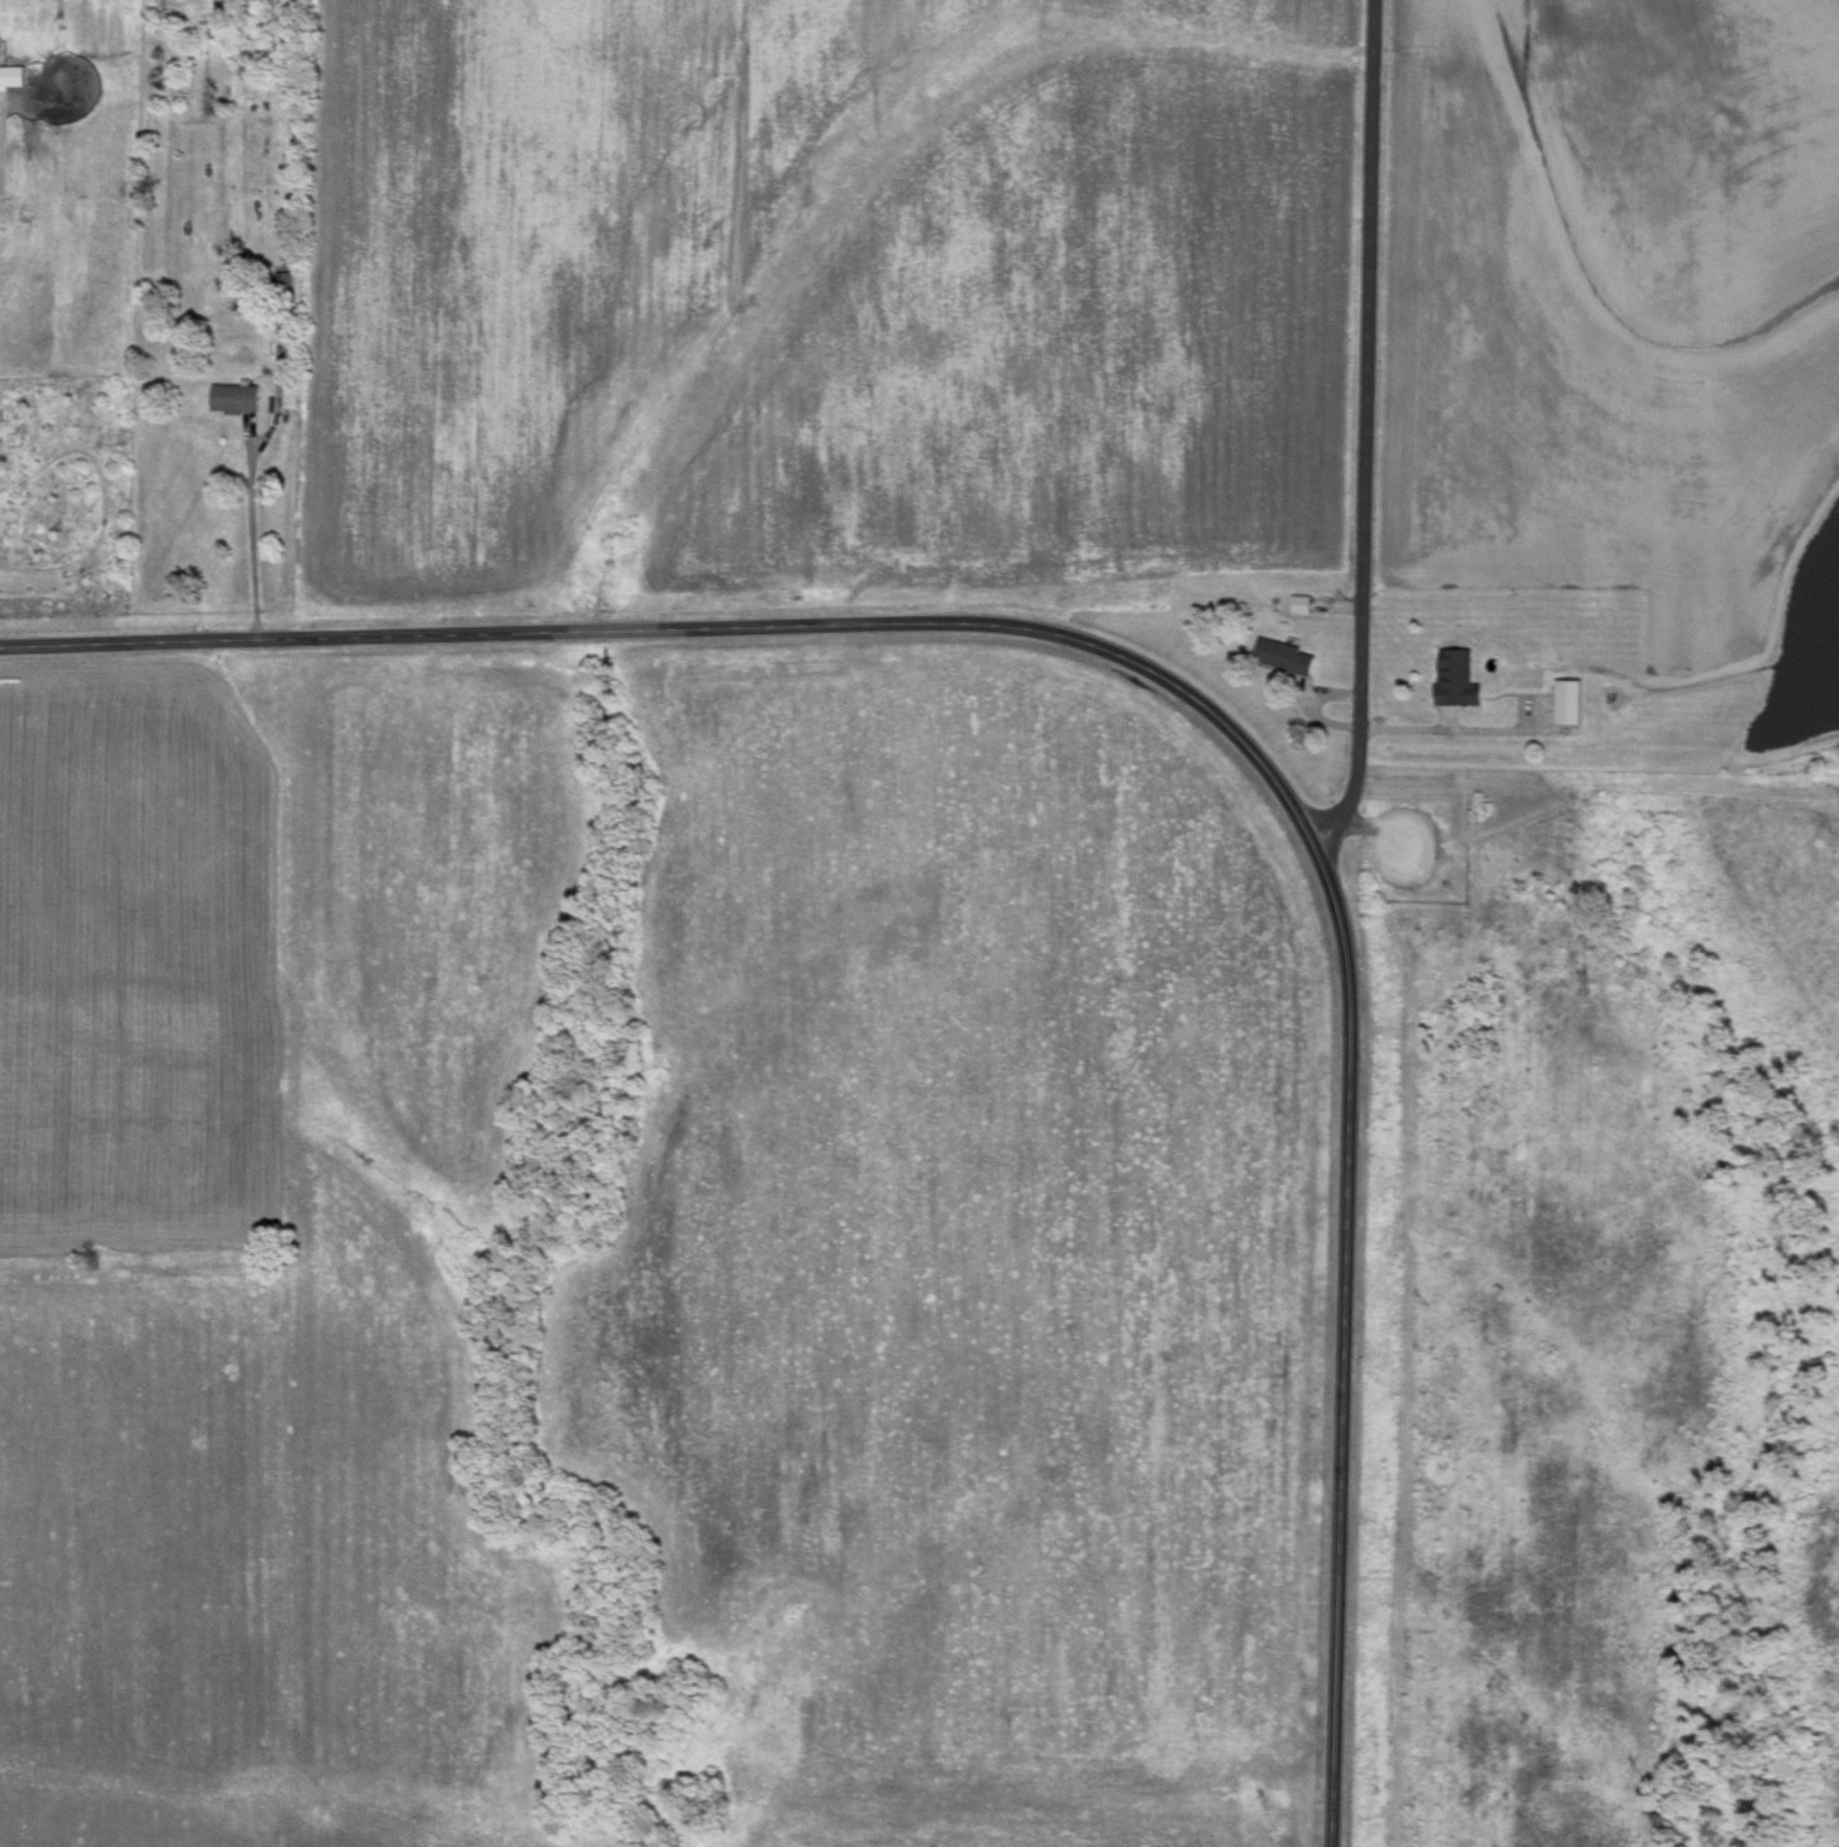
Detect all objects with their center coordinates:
building: (10, 73)
building: (233, 395)
road: (1362, 430)
road: (250, 526)
building: (1299, 599)
building: (1282, 653)
building: (1454, 675)
road: (1187, 693)
building: (1566, 699)
road: (1451, 727)
park: (1598, 1314)

